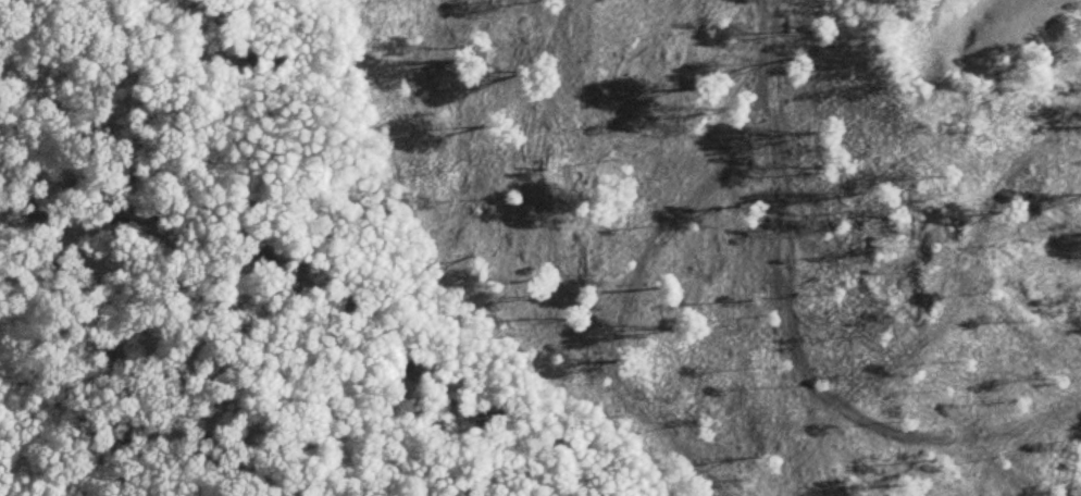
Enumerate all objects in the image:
road: (350, 34)
road: (473, 309)

